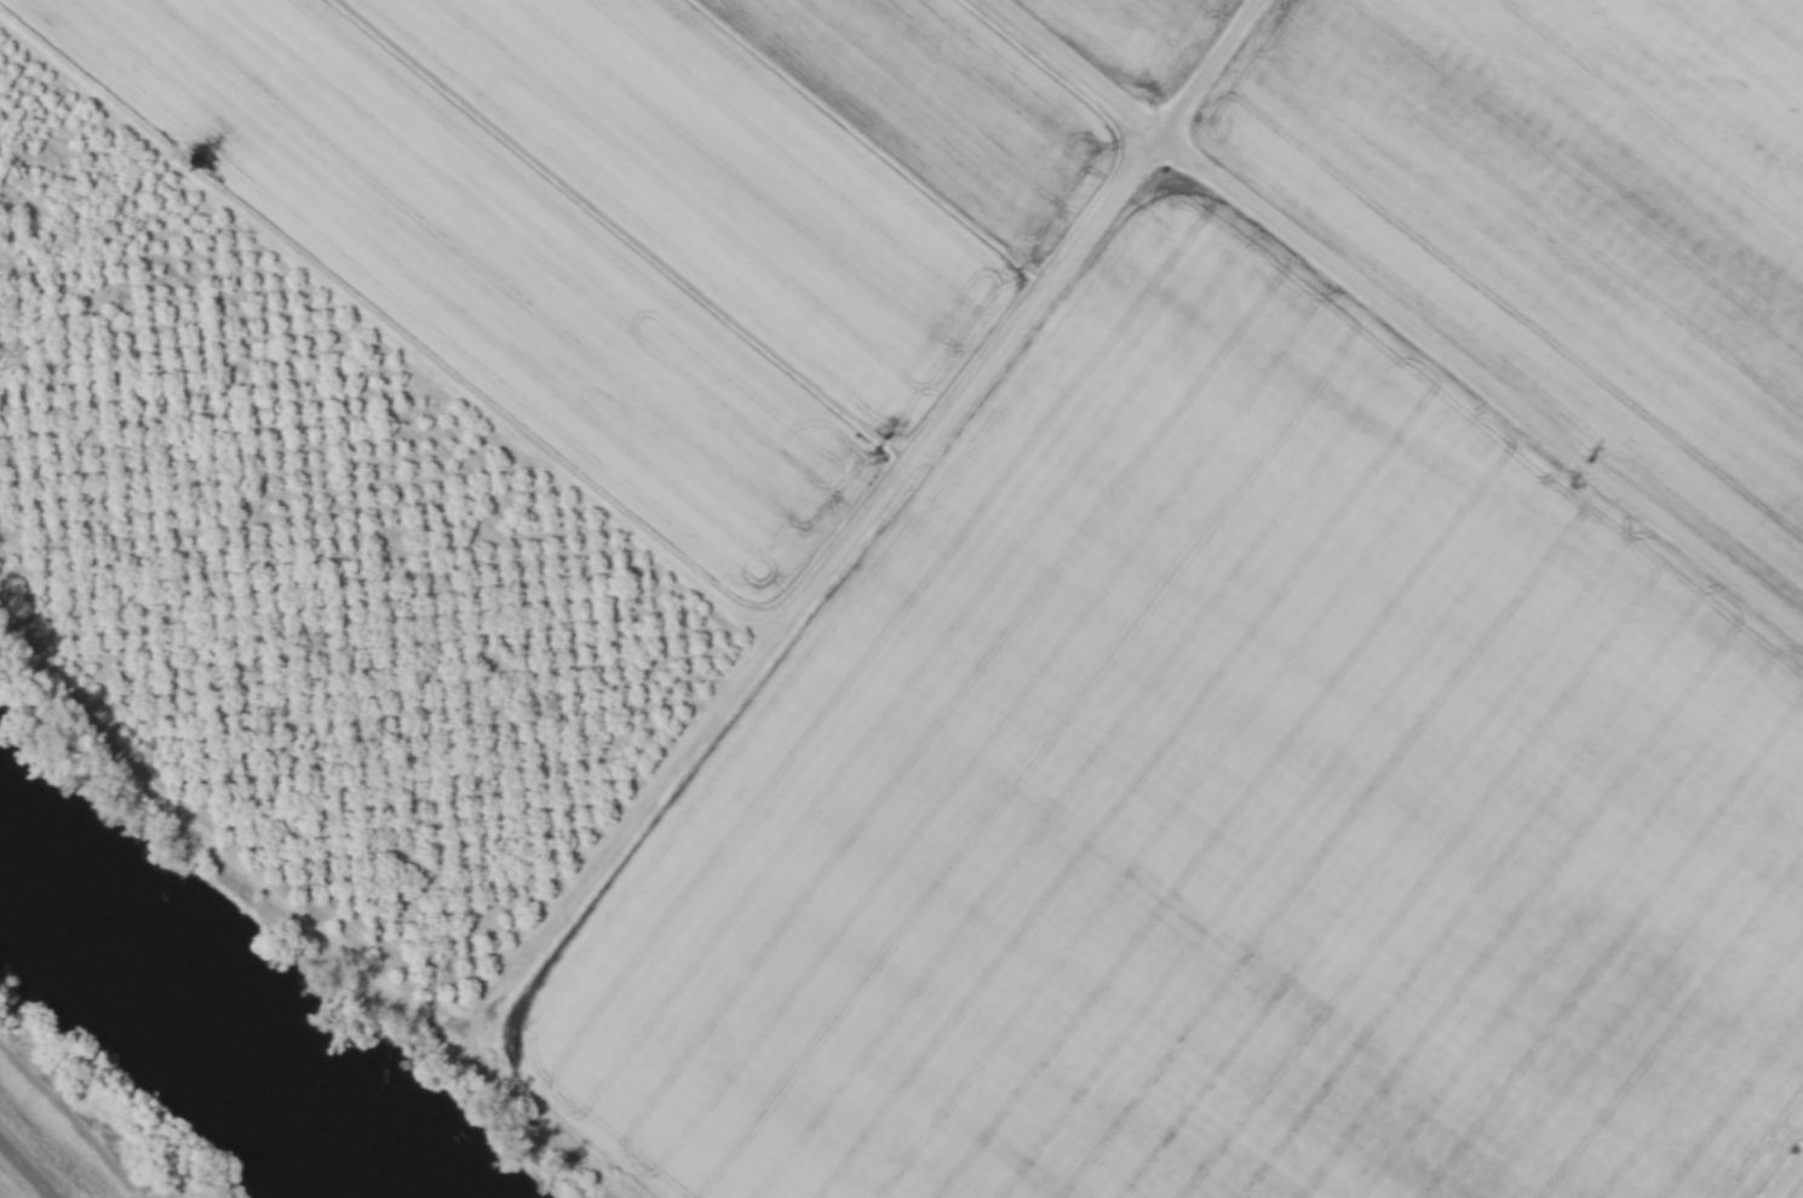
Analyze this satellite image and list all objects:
road: (28, 1168)
road: (12, 1190)

